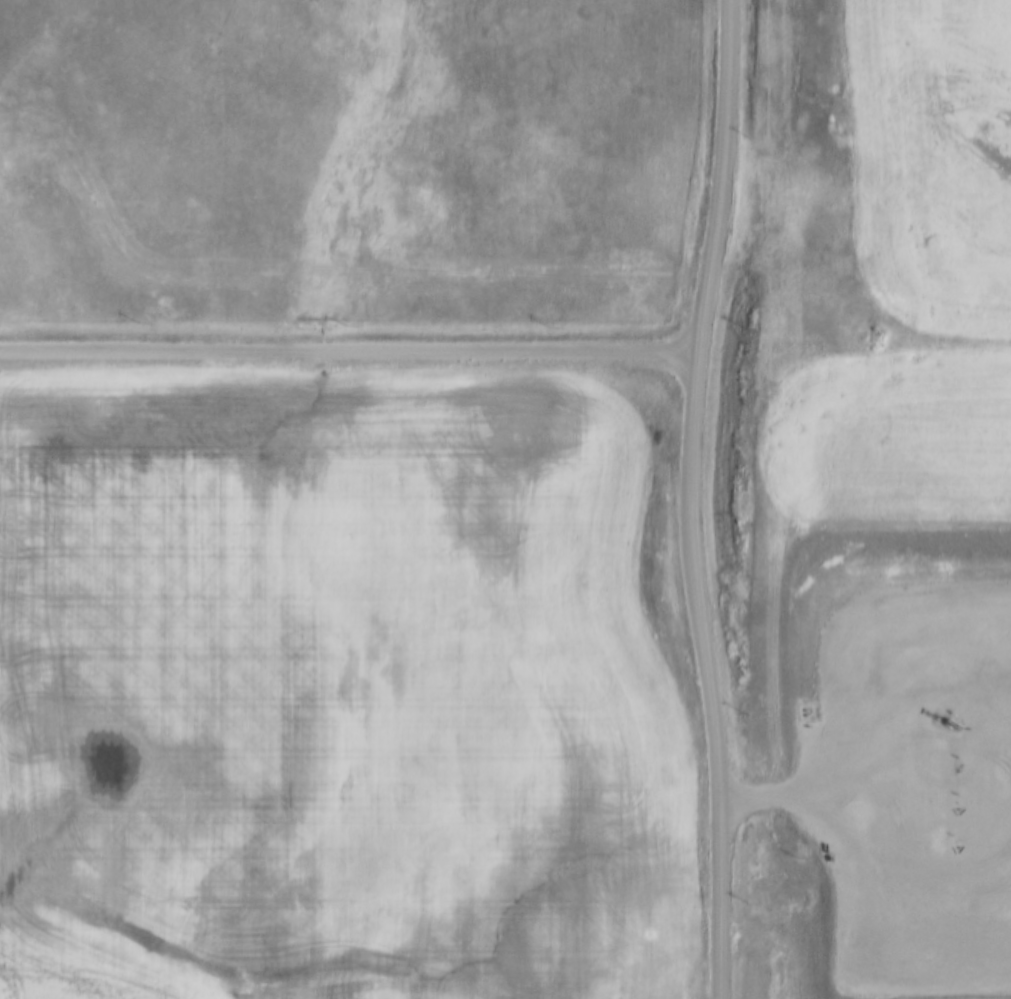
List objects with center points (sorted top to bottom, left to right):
road: (351, 344)
road: (669, 500)
petroleum well: (944, 712)
road: (778, 798)
building: (907, 949)
storage tank: (907, 949)
building: (932, 949)
storage tank: (932, 949)
building: (943, 949)
storage tank: (943, 949)
building: (954, 949)
storage tank: (954, 949)
building: (920, 950)
storage tank: (920, 950)
building: (895, 951)
storage tank: (895, 951)

